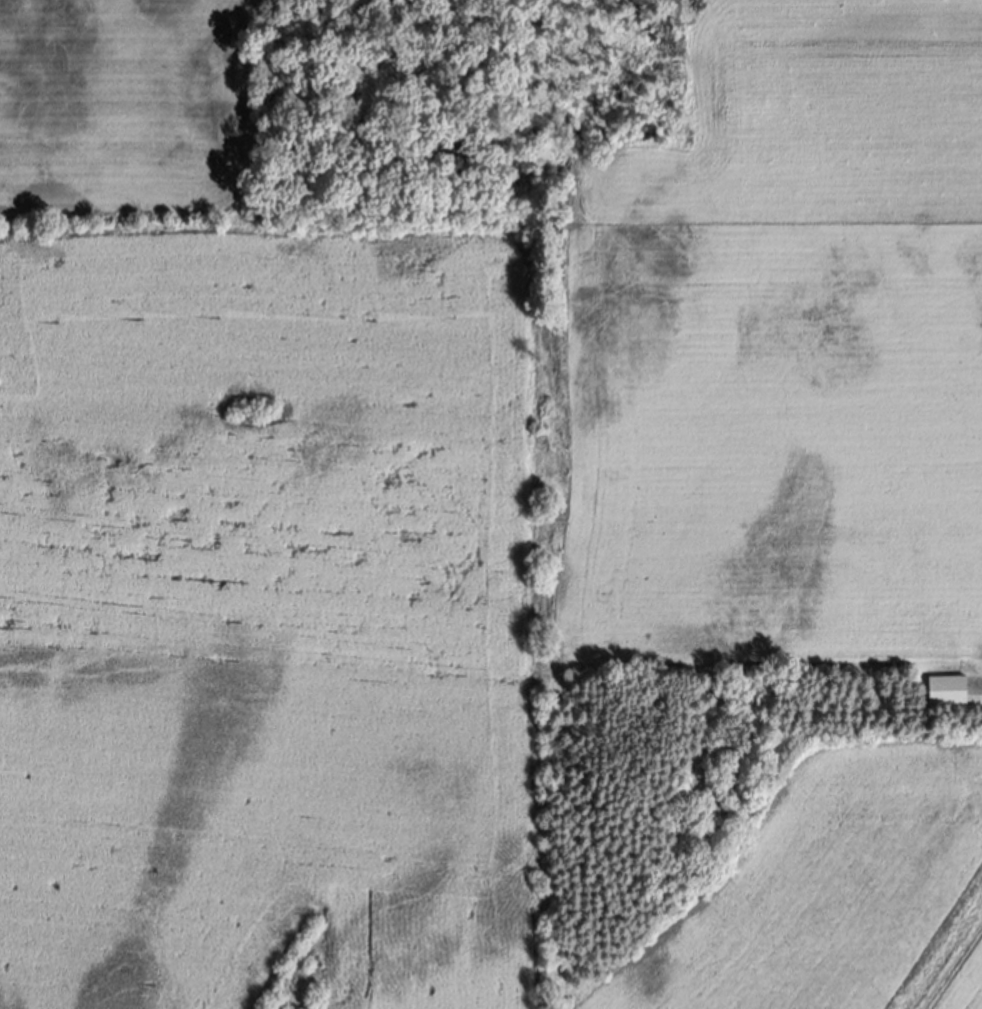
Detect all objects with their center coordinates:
building: (947, 689)
airport runway: (920, 919)

